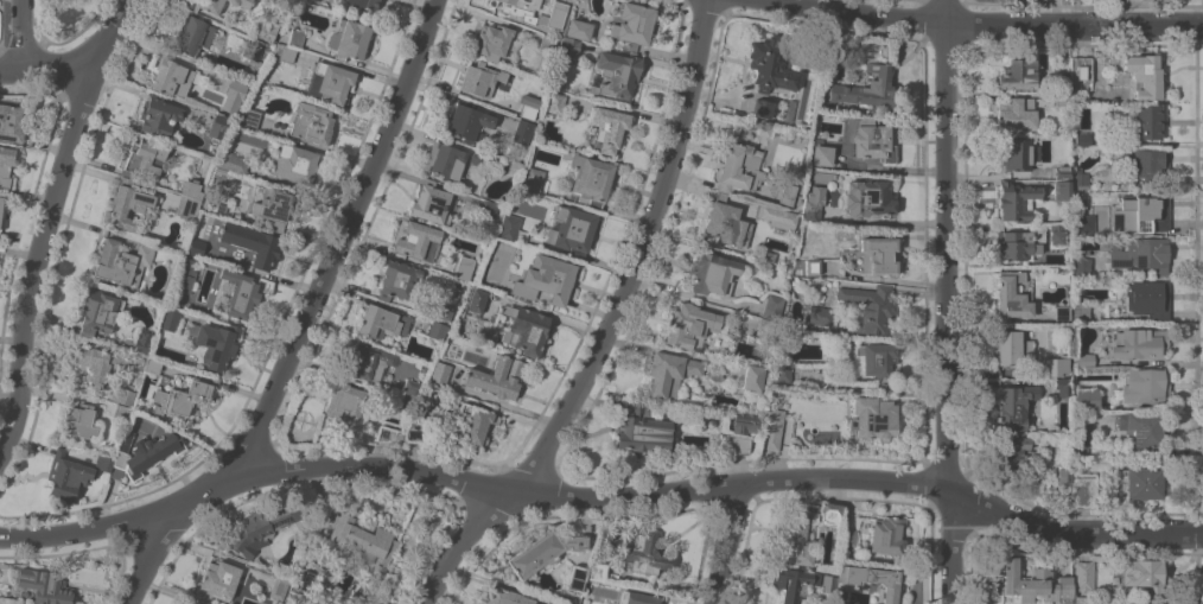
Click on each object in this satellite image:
building: (1154, 0)
building: (240, 2)
building: (365, 4)
building: (208, 5)
road: (946, 12)
building: (540, 18)
road: (985, 24)
building: (632, 25)
building: (578, 28)
building: (266, 31)
road: (20, 33)
building: (193, 34)
building: (295, 37)
building: (349, 39)
building: (491, 42)
building: (547, 43)
building: (266, 47)
building: (252, 49)
building: (568, 50)
building: (282, 52)
building: (776, 65)
road: (44, 66)
building: (1081, 72)
building: (615, 75)
building: (1017, 75)
building: (1144, 76)
building: (171, 77)
building: (479, 77)
building: (331, 82)
building: (1062, 82)
building: (237, 87)
building: (867, 88)
building: (1061, 100)
building: (555, 102)
building: (760, 108)
building: (529, 109)
building: (1014, 112)
building: (159, 115)
building: (247, 117)
building: (1147, 120)
building: (312, 122)
building: (467, 122)
building: (9, 123)
building: (217, 126)
building: (607, 127)
building: (764, 129)
building: (522, 132)
building: (448, 139)
building: (1082, 139)
building: (872, 141)
building: (1014, 153)
building: (822, 154)
building: (477, 157)
building: (144, 159)
building: (444, 159)
building: (233, 161)
building: (1144, 161)
building: (294, 163)
building: (6, 164)
building: (739, 167)
road: (904, 167)
building: (1062, 171)
building: (590, 177)
building: (217, 178)
building: (532, 179)
building: (1078, 180)
building: (191, 189)
building: (1062, 190)
building: (873, 196)
building: (785, 198)
building: (1013, 199)
building: (215, 201)
building: (127, 203)
building: (431, 203)
building: (273, 204)
building: (186, 205)
building: (811, 206)
building: (1, 208)
building: (488, 208)
building: (214, 209)
building: (1139, 214)
building: (777, 217)
road: (46, 218)
building: (1082, 223)
building: (727, 224)
building: (509, 227)
building: (569, 229)
building: (1056, 234)
building: (418, 241)
building: (196, 243)
building: (1014, 244)
building: (257, 247)
building: (1142, 254)
building: (877, 255)
building: (122, 261)
building: (810, 266)
building: (1080, 267)
building: (464, 268)
building: (712, 273)
building: (185, 275)
building: (397, 279)
building: (546, 279)
building: (452, 284)
building: (240, 293)
building: (1011, 297)
building: (1147, 298)
building: (476, 299)
building: (772, 306)
building: (870, 307)
building: (444, 310)
building: (98, 311)
building: (1080, 312)
road: (948, 313)
building: (1062, 313)
building: (820, 314)
road: (307, 317)
building: (168, 319)
building: (382, 322)
road: (606, 322)
building: (690, 324)
building: (526, 329)
building: (765, 329)
building: (437, 330)
building: (141, 343)
building: (1138, 343)
building: (216, 344)
building: (1012, 348)
building: (367, 360)
building: (1083, 360)
building: (878, 361)
building: (100, 363)
building: (153, 364)
building: (1057, 365)
building: (781, 373)
building: (439, 374)
building: (669, 374)
building: (497, 376)
building: (752, 377)
building: (1145, 384)
building: (1062, 386)
building: (410, 389)
building: (122, 395)
building: (182, 396)
building: (1086, 398)
building: (344, 401)
building: (399, 402)
building: (1013, 406)
building: (121, 412)
building: (871, 417)
building: (78, 420)
building: (476, 422)
building: (709, 422)
building: (744, 422)
building: (1142, 427)
building: (771, 428)
building: (642, 430)
building: (414, 432)
building: (386, 433)
building: (698, 437)
building: (737, 444)
building: (1080, 444)
building: (1012, 451)
building: (147, 453)
building: (103, 463)
road: (364, 464)
building: (66, 476)
building: (1063, 476)
road: (841, 481)
building: (1141, 482)
building: (1083, 492)
building: (829, 513)
building: (260, 527)
building: (886, 535)
building: (848, 536)
road: (1070, 536)
building: (796, 538)
building: (363, 541)
road: (723, 543)
building: (543, 551)
building: (643, 553)
building: (597, 571)
building: (1084, 571)
building: (1144, 574)
building: (577, 578)
building: (218, 579)
building: (303, 579)
building: (872, 581)
building: (793, 583)
building: (828, 584)
building: (1033, 584)
building: (44, 586)
building: (278, 589)
building: (505, 597)
building: (636, 598)
building: (323, 603)
building: (559, 603)
building: (1144, 603)

